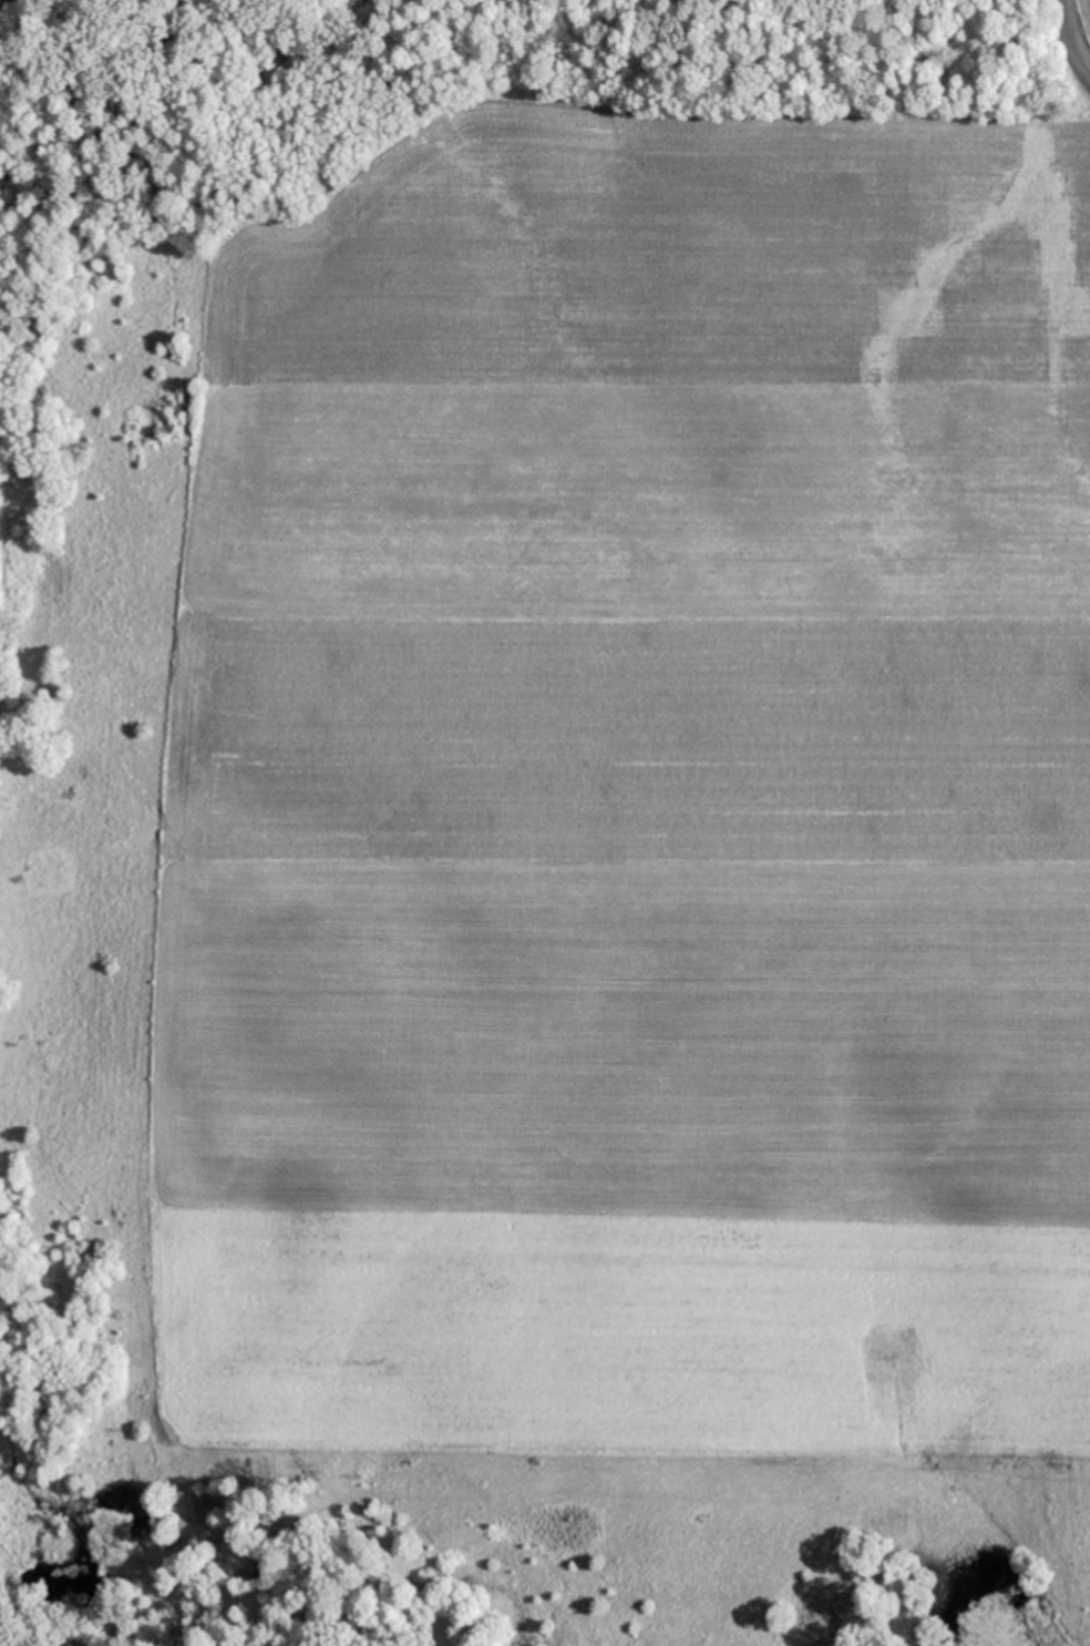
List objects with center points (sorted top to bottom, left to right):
road: (1062, 52)

